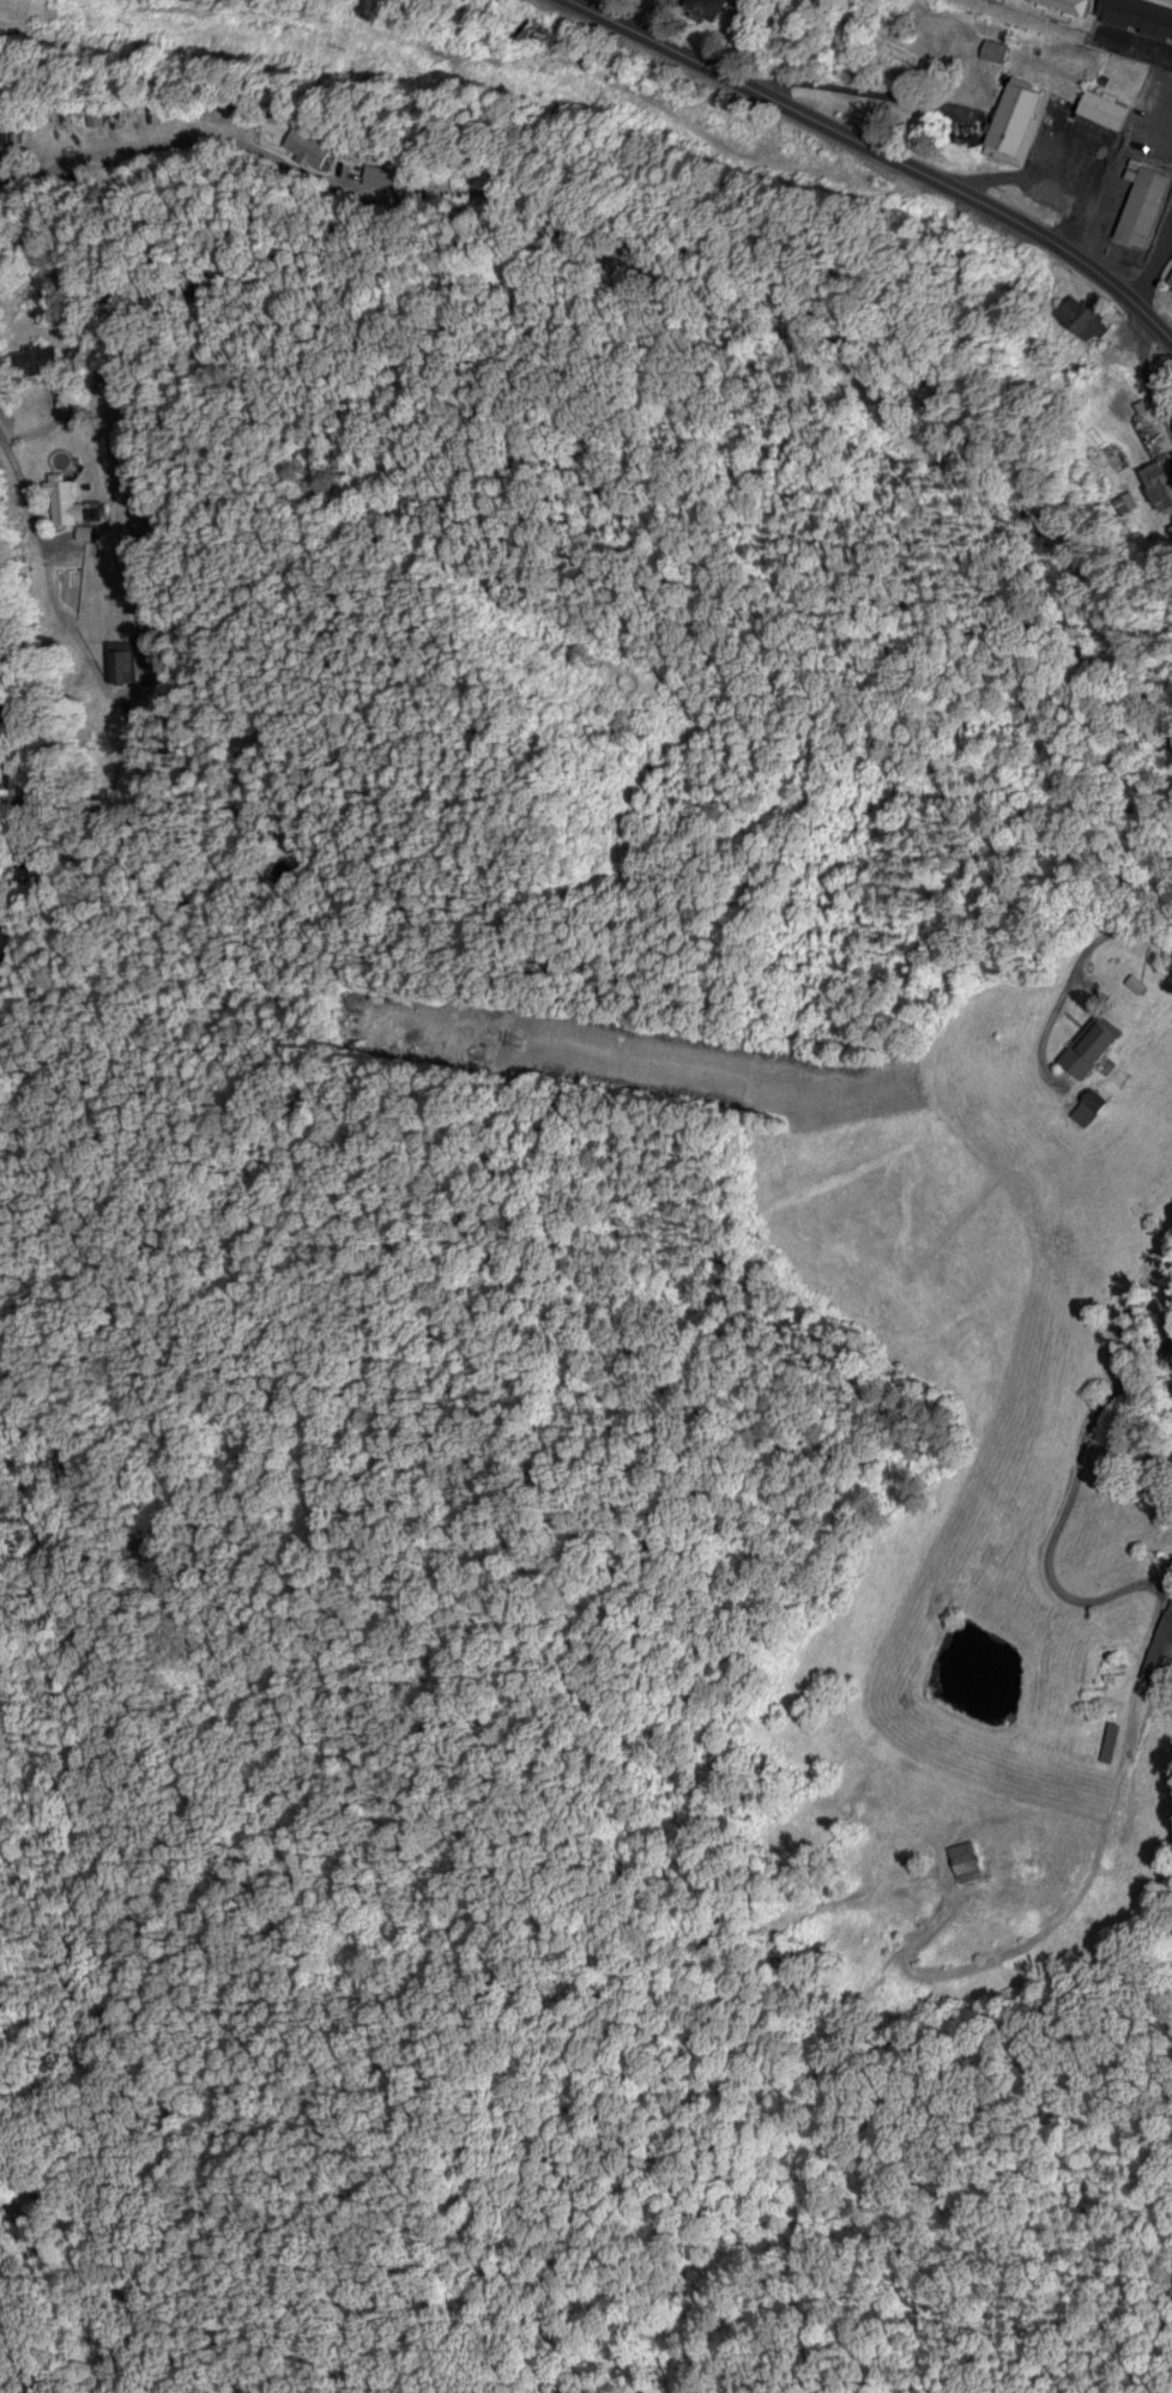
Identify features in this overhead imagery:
building: (1077, 5)
building: (705, 6)
building: (1142, 14)
building: (1108, 105)
road: (34, 116)
building: (1008, 117)
building: (1, 127)
building: (303, 146)
road: (882, 153)
building: (376, 177)
building: (1138, 203)
road: (1156, 258)
building: (1167, 280)
building: (49, 356)
road: (1149, 368)
road: (10, 424)
building: (1162, 473)
building: (67, 498)
road: (36, 524)
road: (78, 645)
building: (121, 663)
road: (36, 800)
road: (1143, 927)
power tower: (525, 1037)
building: (1095, 1045)
road: (1150, 1342)
road: (1106, 1415)
building: (1164, 1654)
building: (974, 1859)

